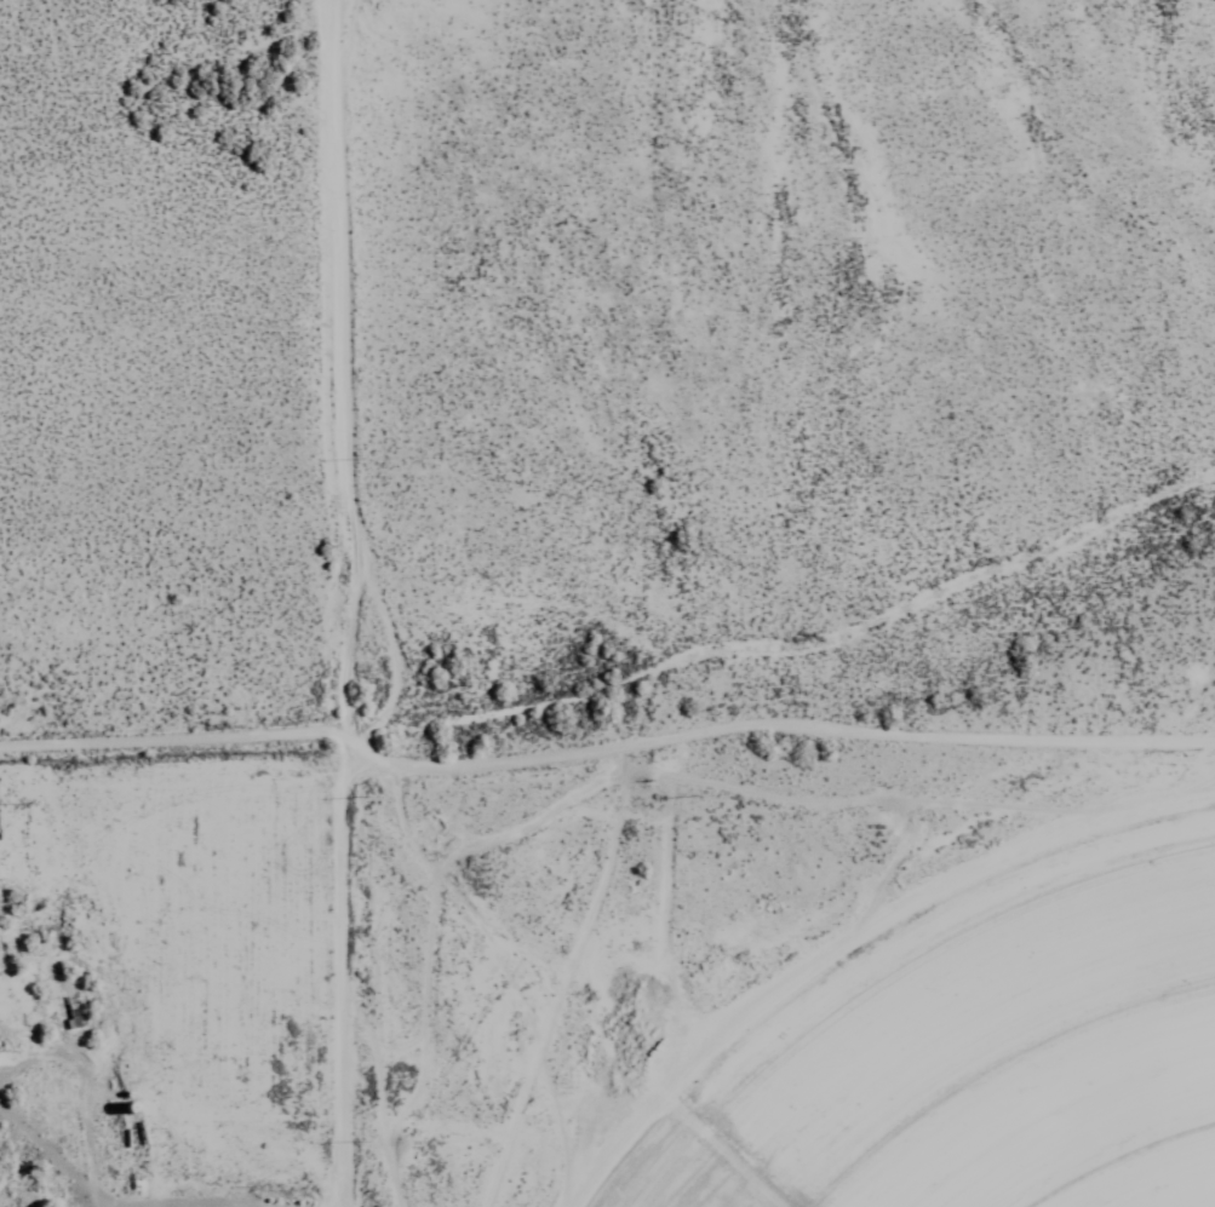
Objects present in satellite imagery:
road: (323, 603)
road: (768, 714)
road: (162, 730)
crop: (998, 1074)
building: (204, 1206)

